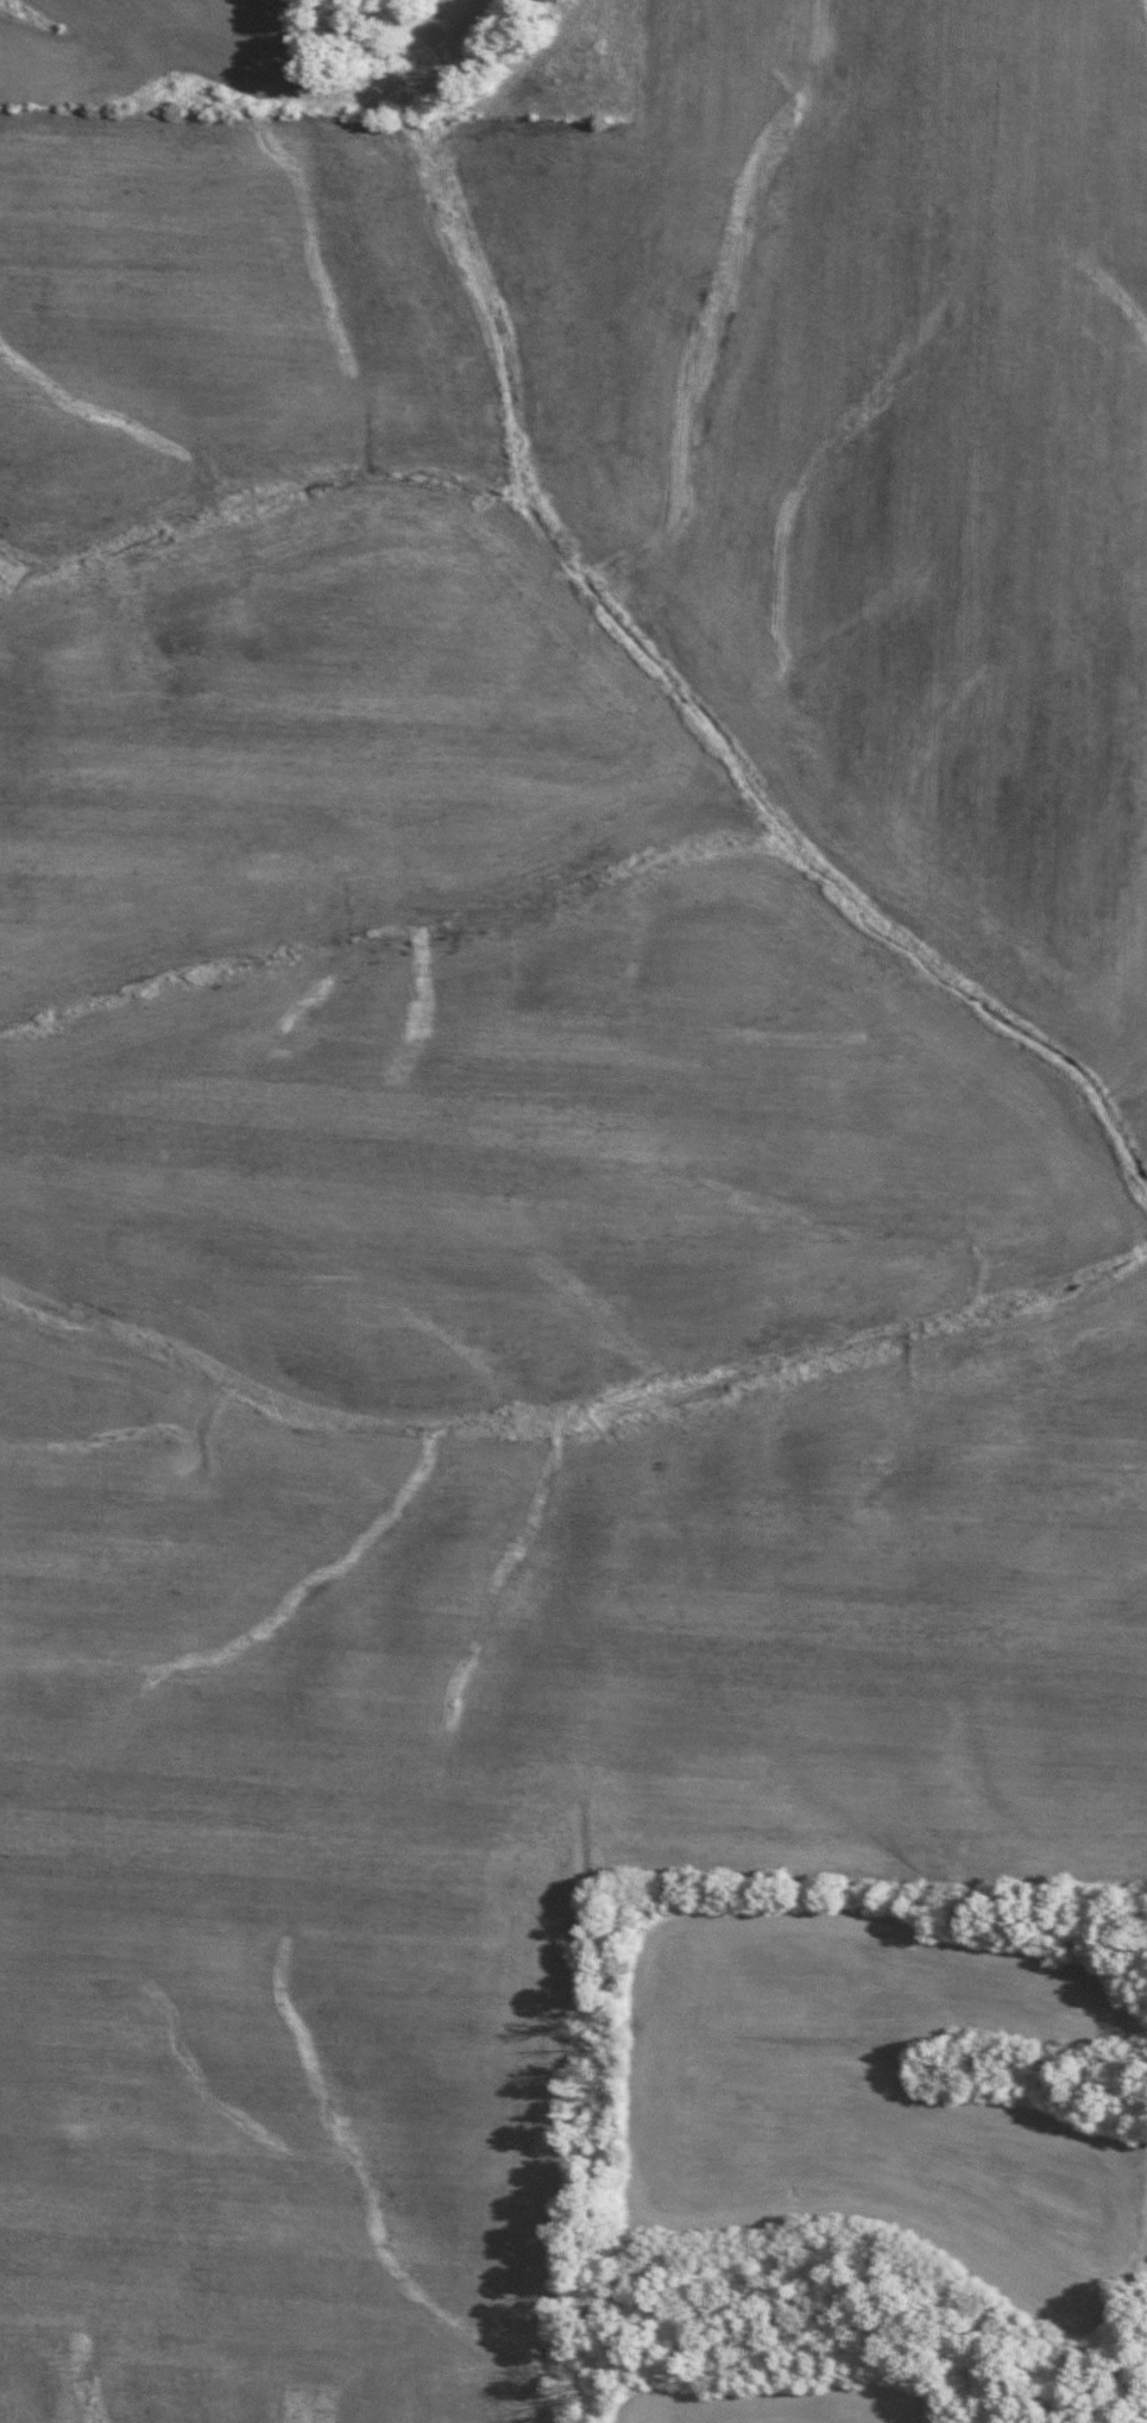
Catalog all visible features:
park: (309, 2402)

